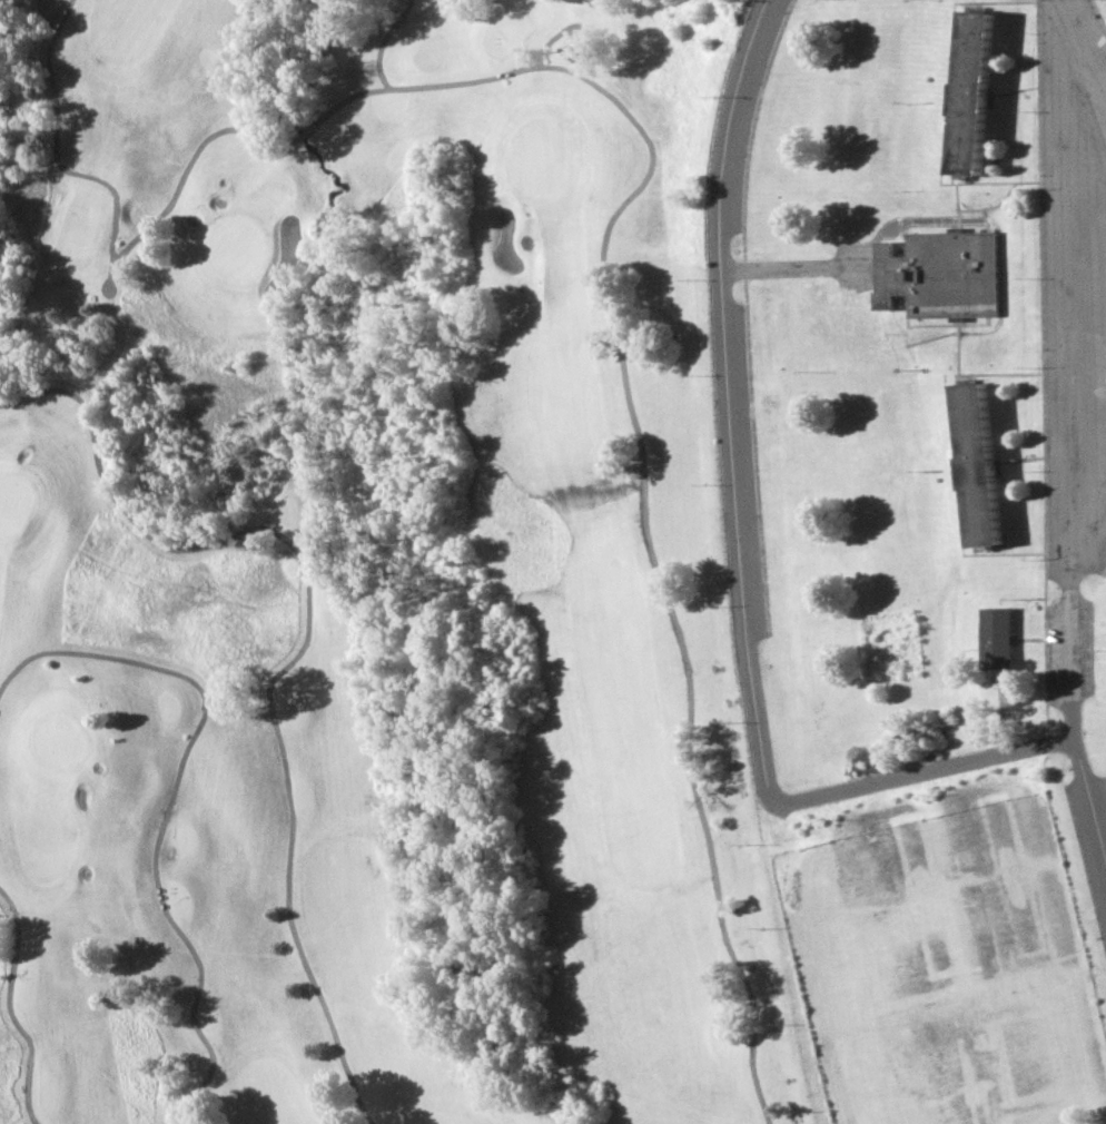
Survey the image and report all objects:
road: (964, 6)
road: (1097, 18)
road: (1013, 89)
building: (970, 97)
road: (944, 101)
road: (749, 131)
road: (1085, 166)
road: (954, 205)
road: (987, 206)
road: (860, 265)
building: (938, 275)
road: (940, 323)
road: (971, 323)
parking lot: (1073, 328)
road: (1039, 366)
road: (723, 406)
road: (1067, 441)
road: (750, 453)
road: (954, 454)
road: (949, 455)
building: (976, 459)
road: (1017, 459)
road: (1103, 570)
road: (1016, 598)
park: (428, 620)
building: (998, 635)
road: (1030, 638)
building: (912, 732)
road: (928, 770)

